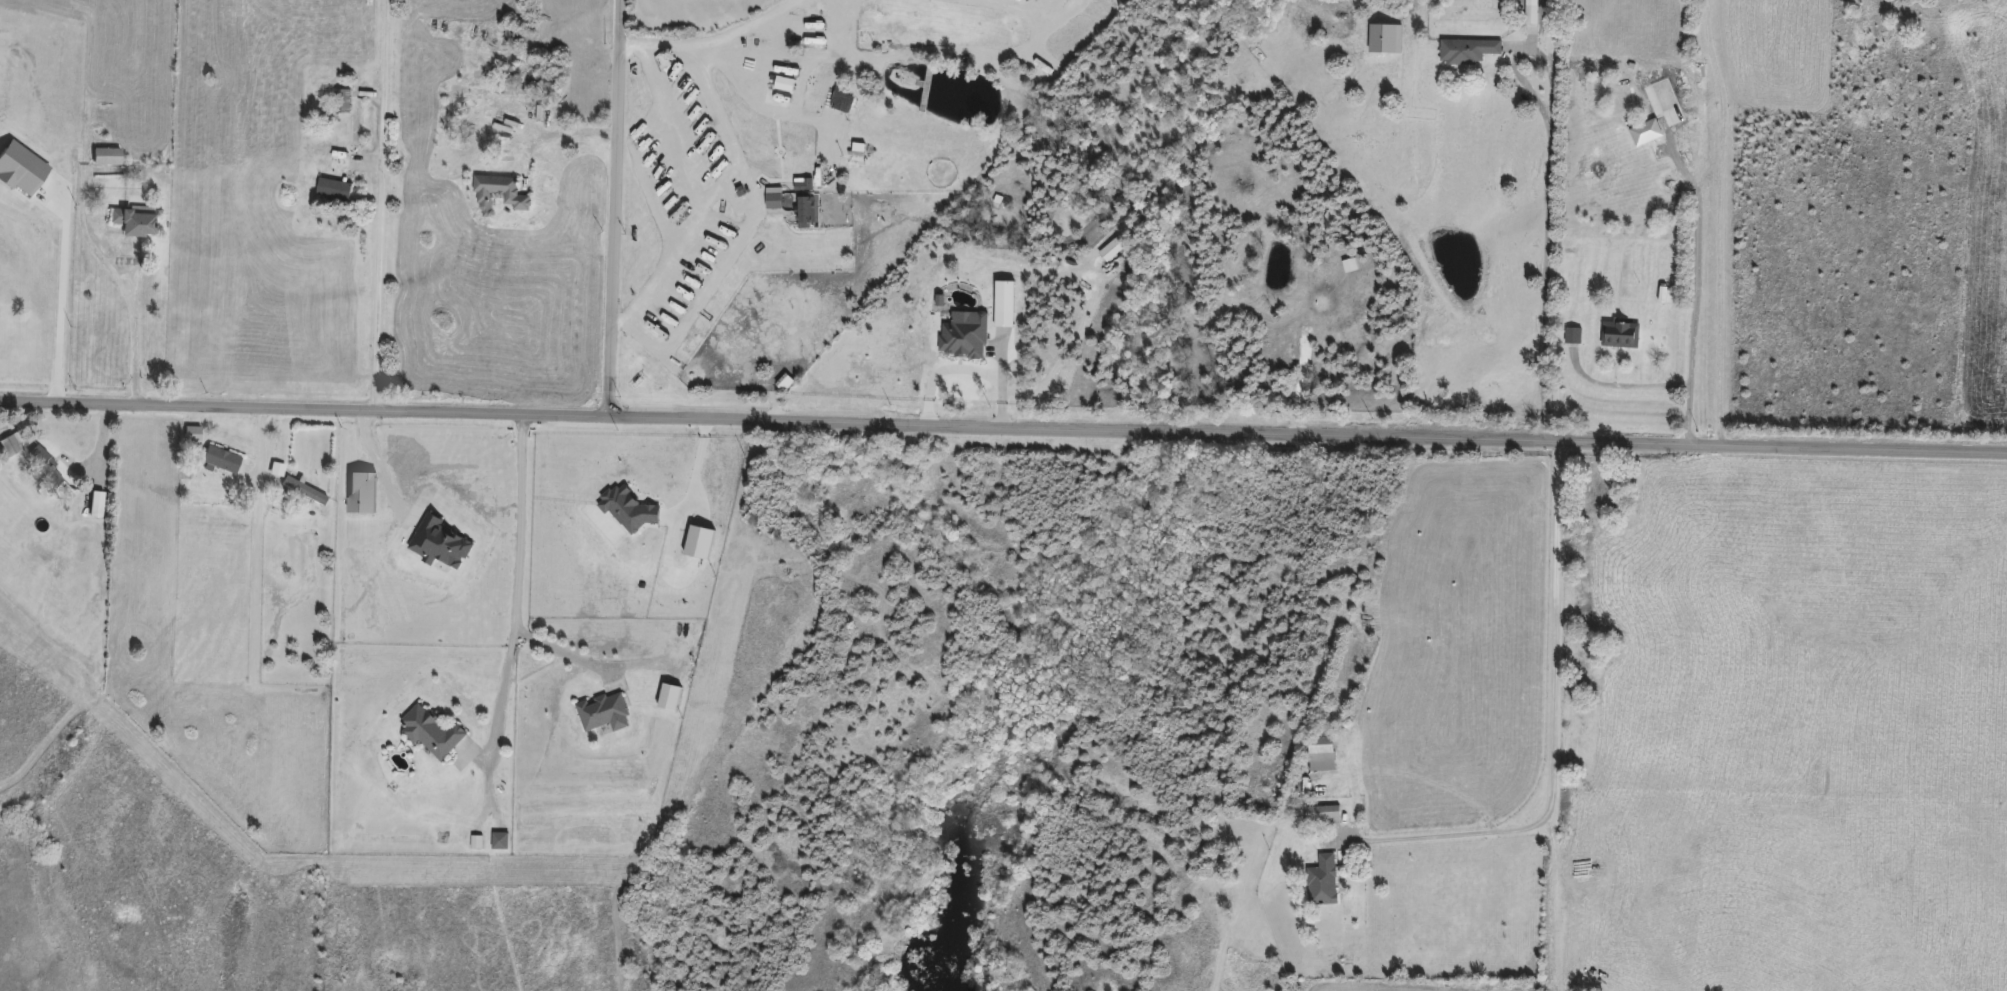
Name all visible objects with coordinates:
road: (1048, 2)
building: (510, 35)
road: (714, 36)
road: (944, 47)
building: (1466, 51)
building: (782, 85)
building: (811, 93)
building: (834, 101)
building: (341, 102)
road: (781, 106)
building: (105, 157)
road: (1680, 166)
building: (332, 190)
road: (1550, 191)
building: (498, 195)
road: (62, 205)
road: (381, 207)
road: (614, 208)
building: (805, 209)
road: (1718, 220)
building: (130, 222)
building: (1666, 296)
road: (1692, 315)
road: (132, 335)
building: (1619, 336)
building: (1572, 337)
road: (667, 342)
road: (1068, 349)
road: (966, 369)
road: (1623, 385)
road: (1003, 437)
building: (8, 446)
building: (220, 460)
road: (381, 469)
building: (42, 470)
building: (302, 491)
road: (516, 583)
road: (559, 650)
building: (667, 697)
building: (602, 713)
building: (429, 732)
road: (1553, 735)
building: (1320, 753)
building: (1321, 814)
park: (251, 870)
building: (1321, 882)

